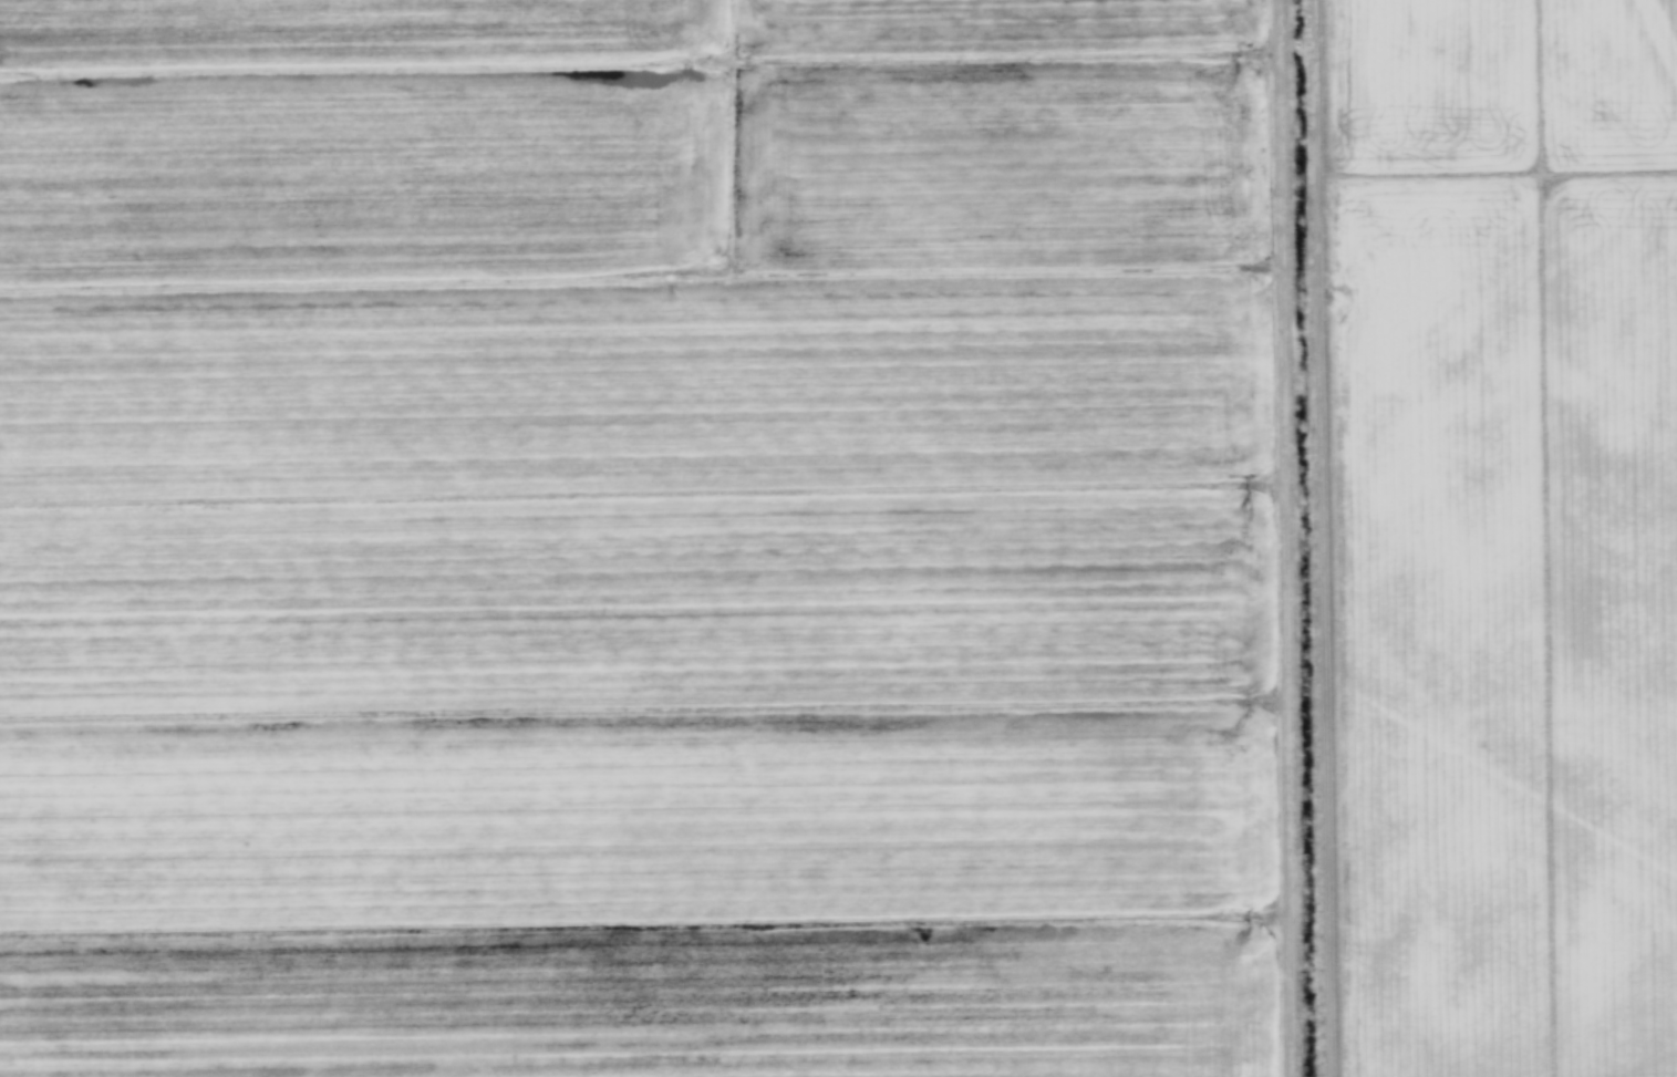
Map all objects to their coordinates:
crop: (838, 538)

